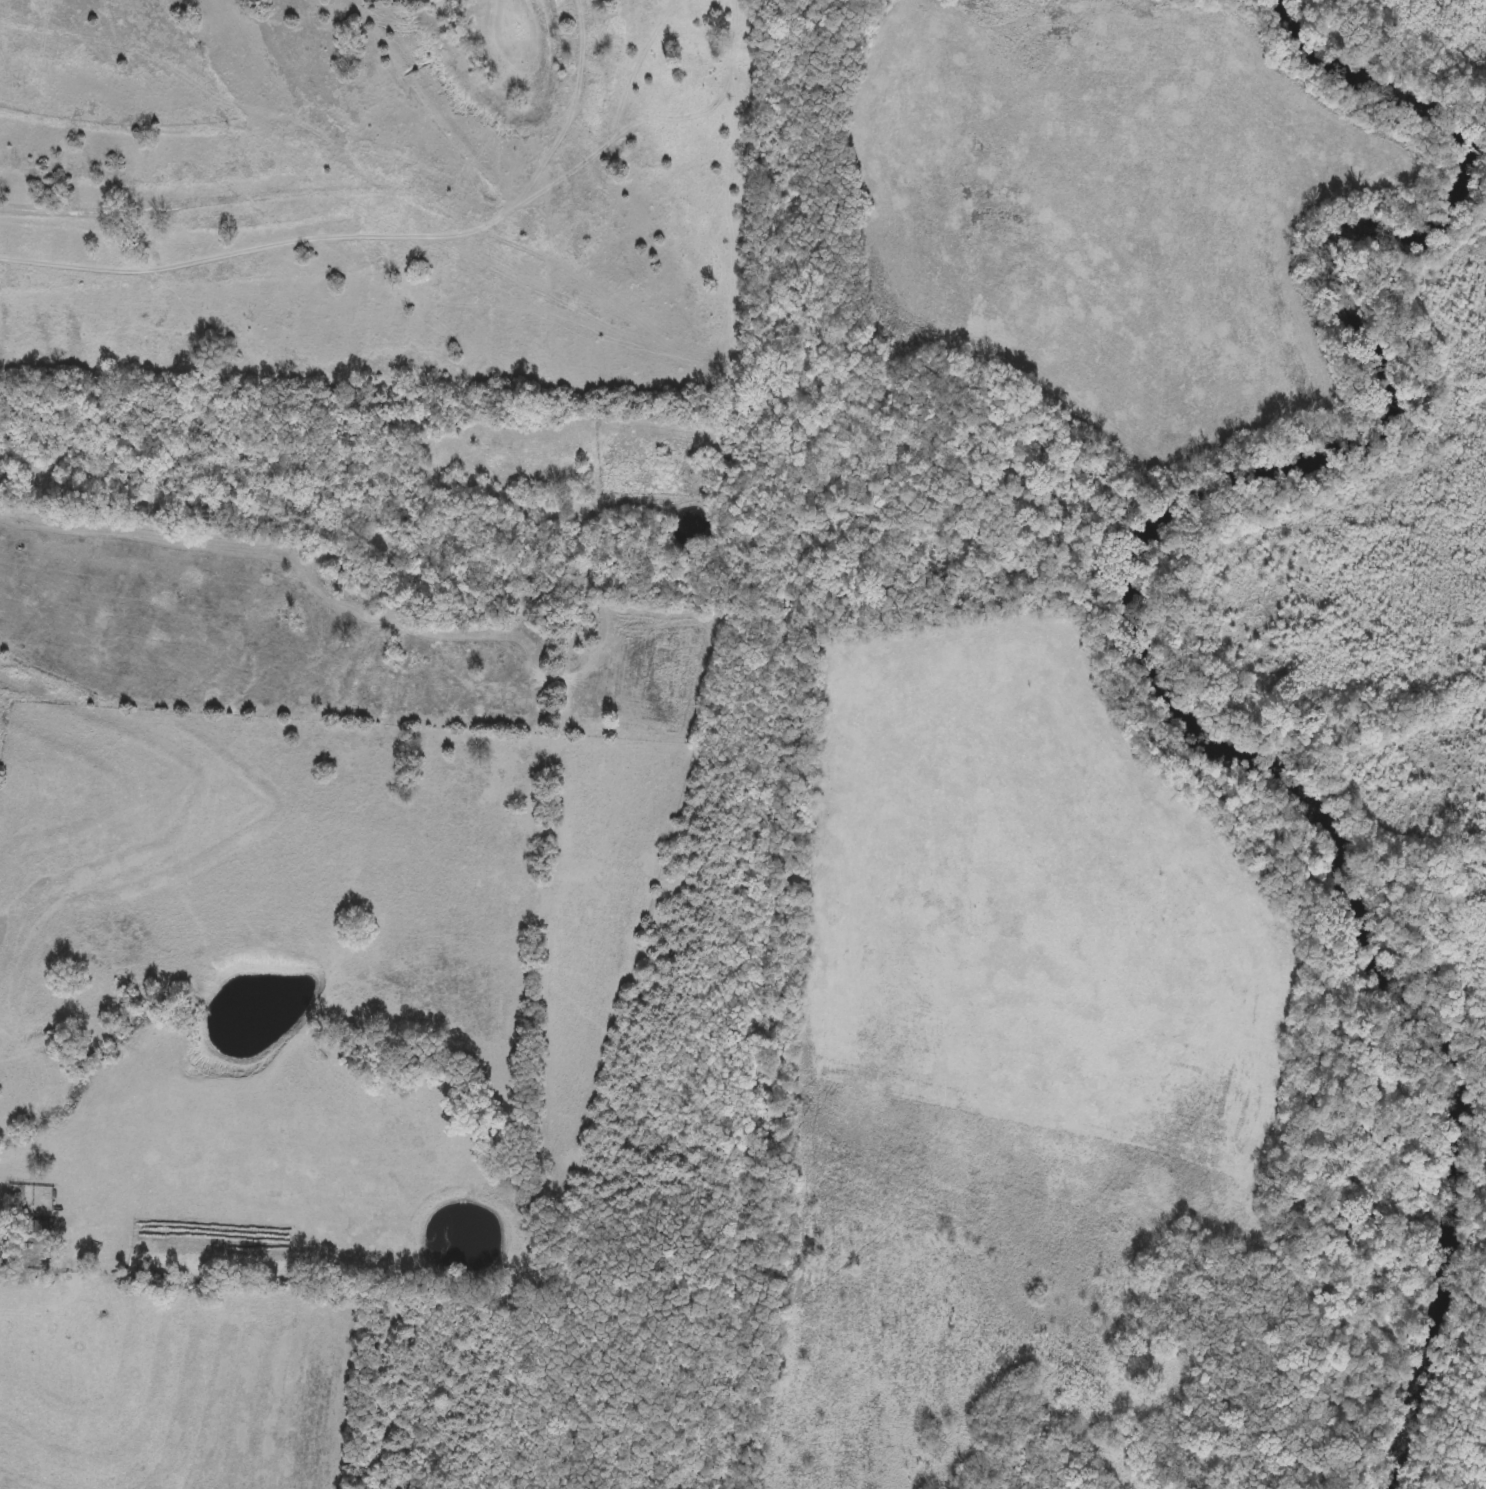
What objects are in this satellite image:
building: (41, 1232)

